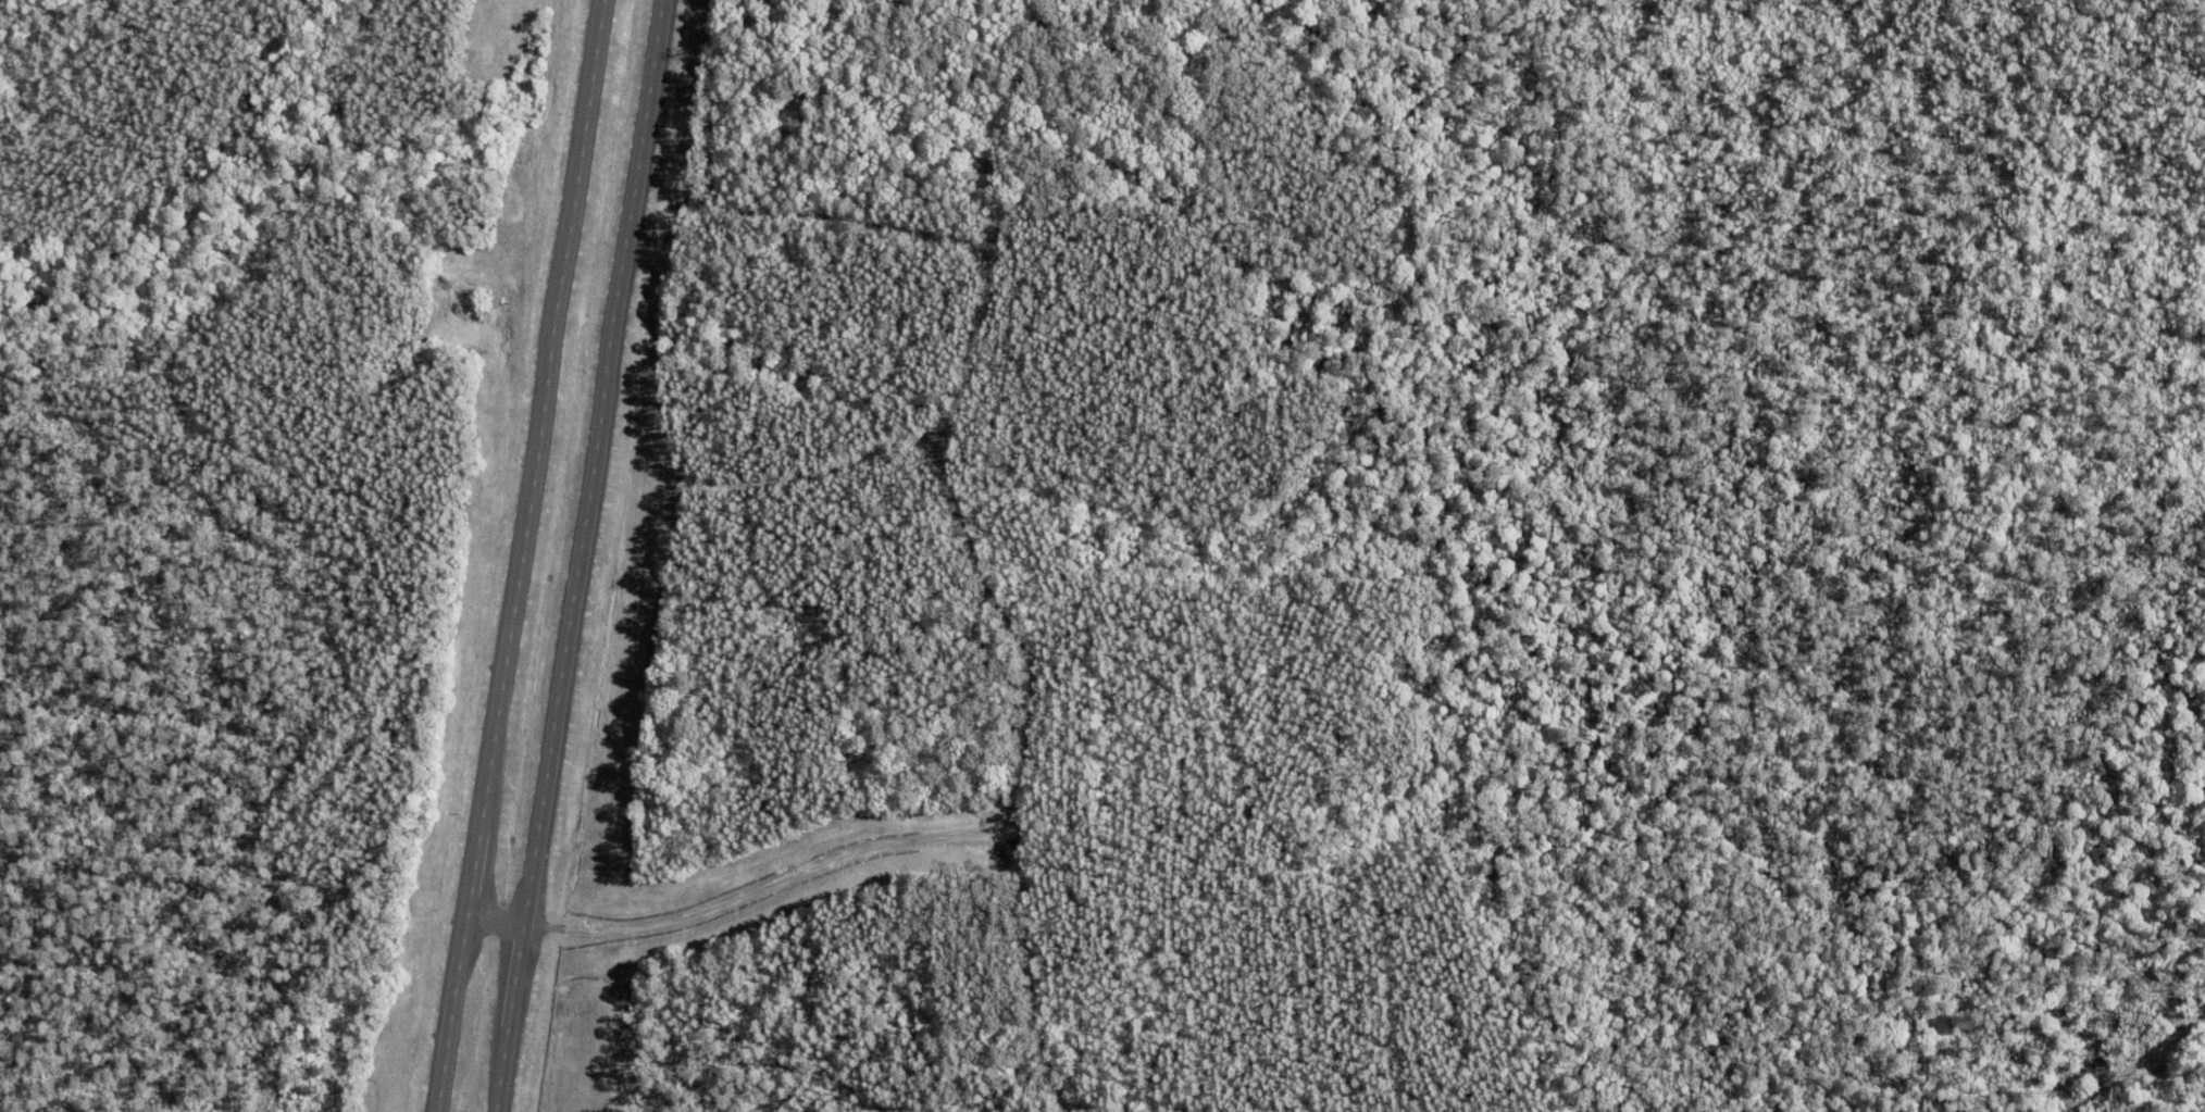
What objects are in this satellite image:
road: (523, 555)
road: (583, 555)
road: (1014, 808)

